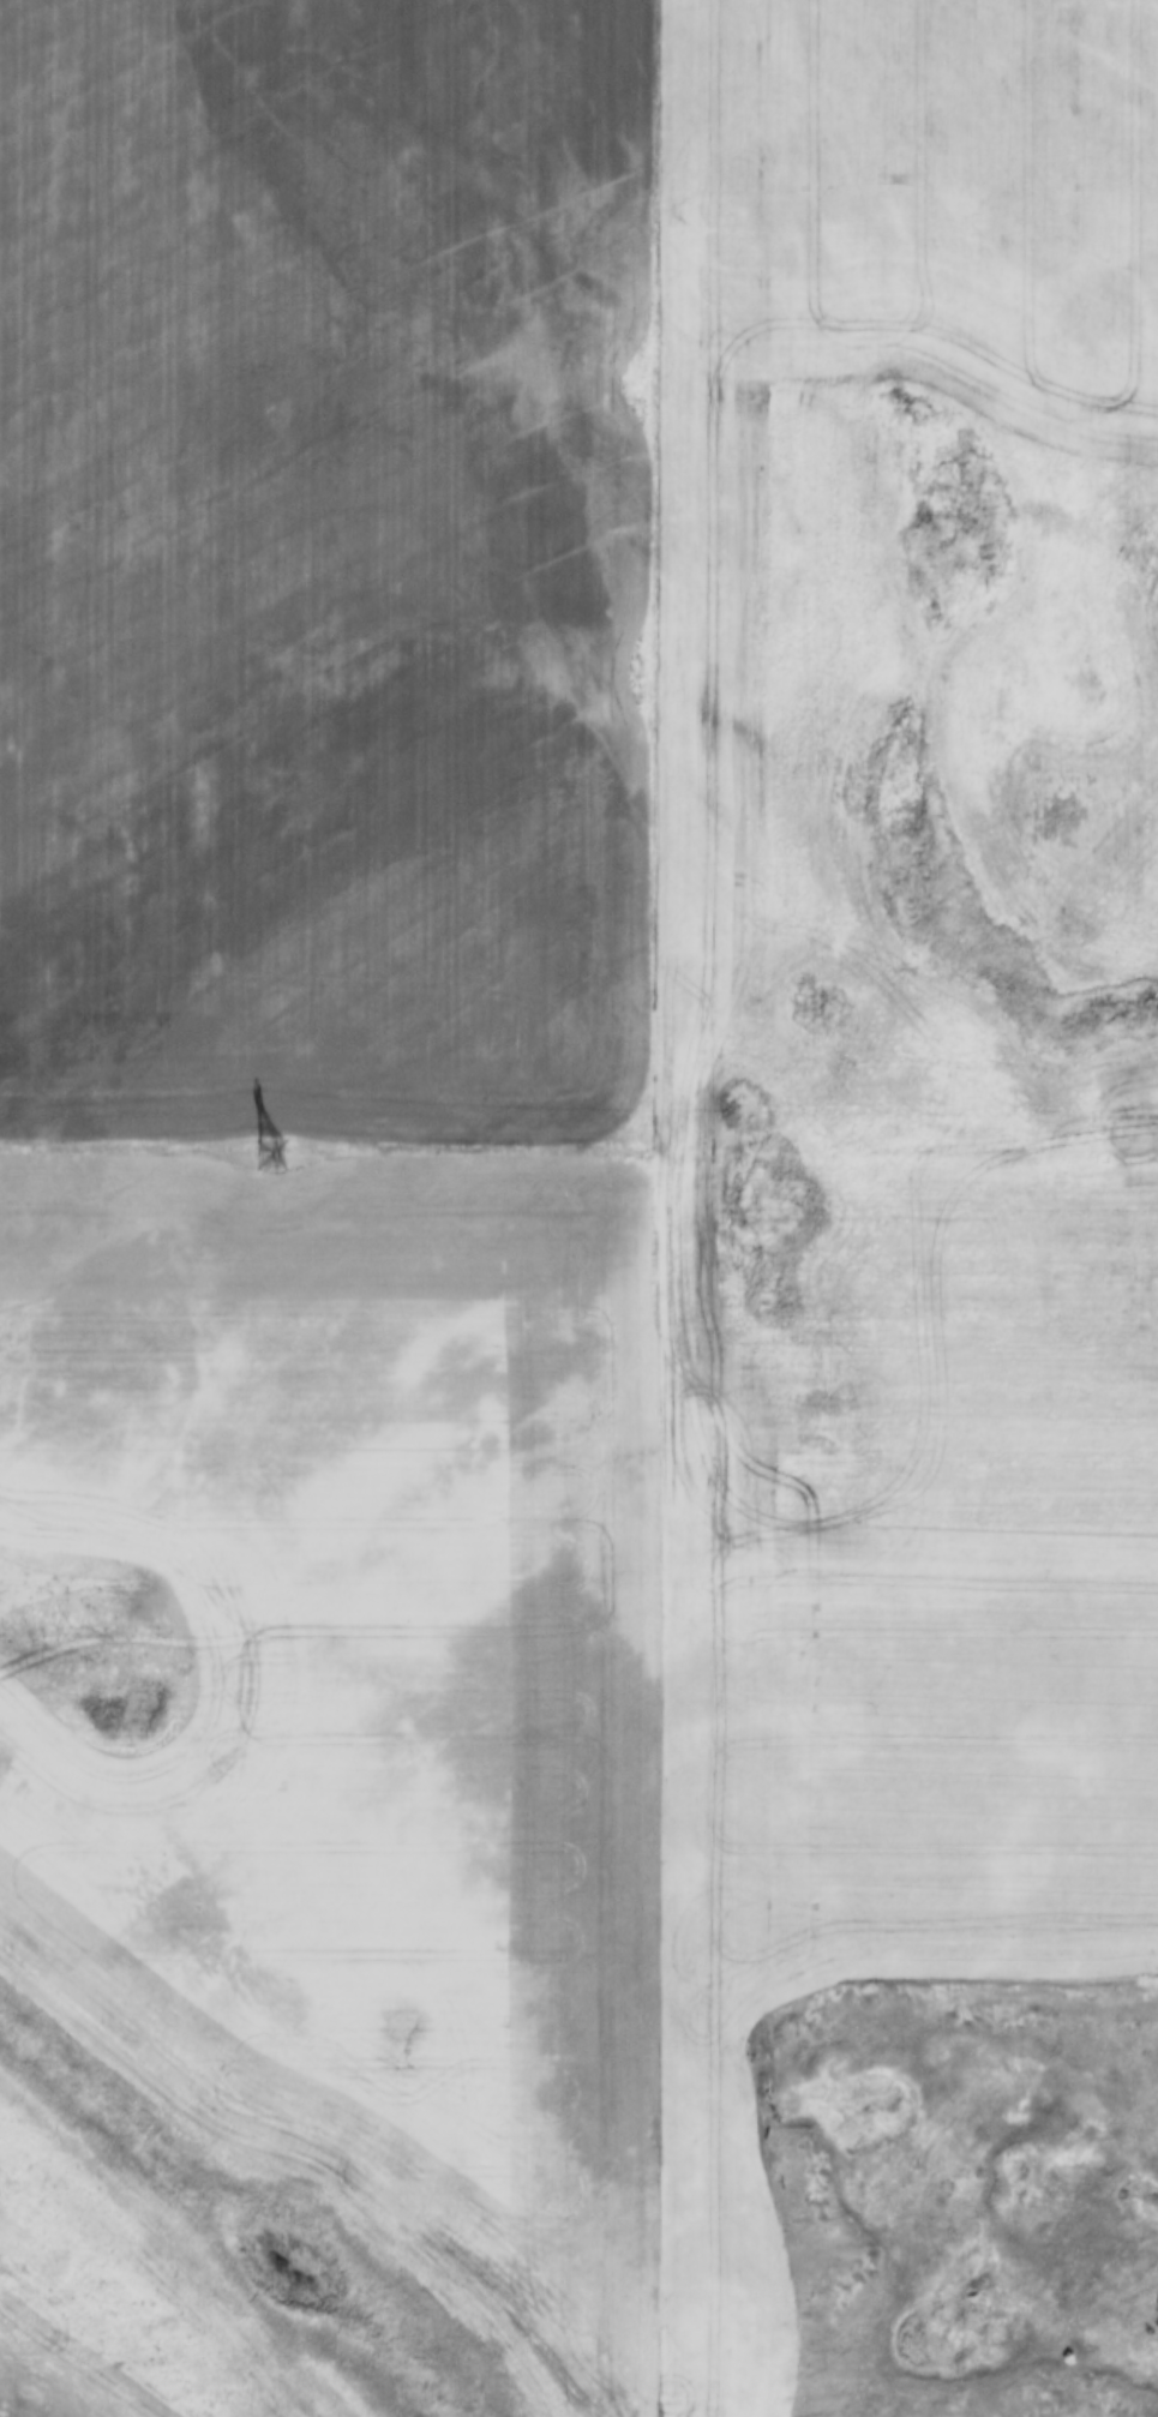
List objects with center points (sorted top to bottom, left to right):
power tower: (274, 1153)
road: (662, 2031)

